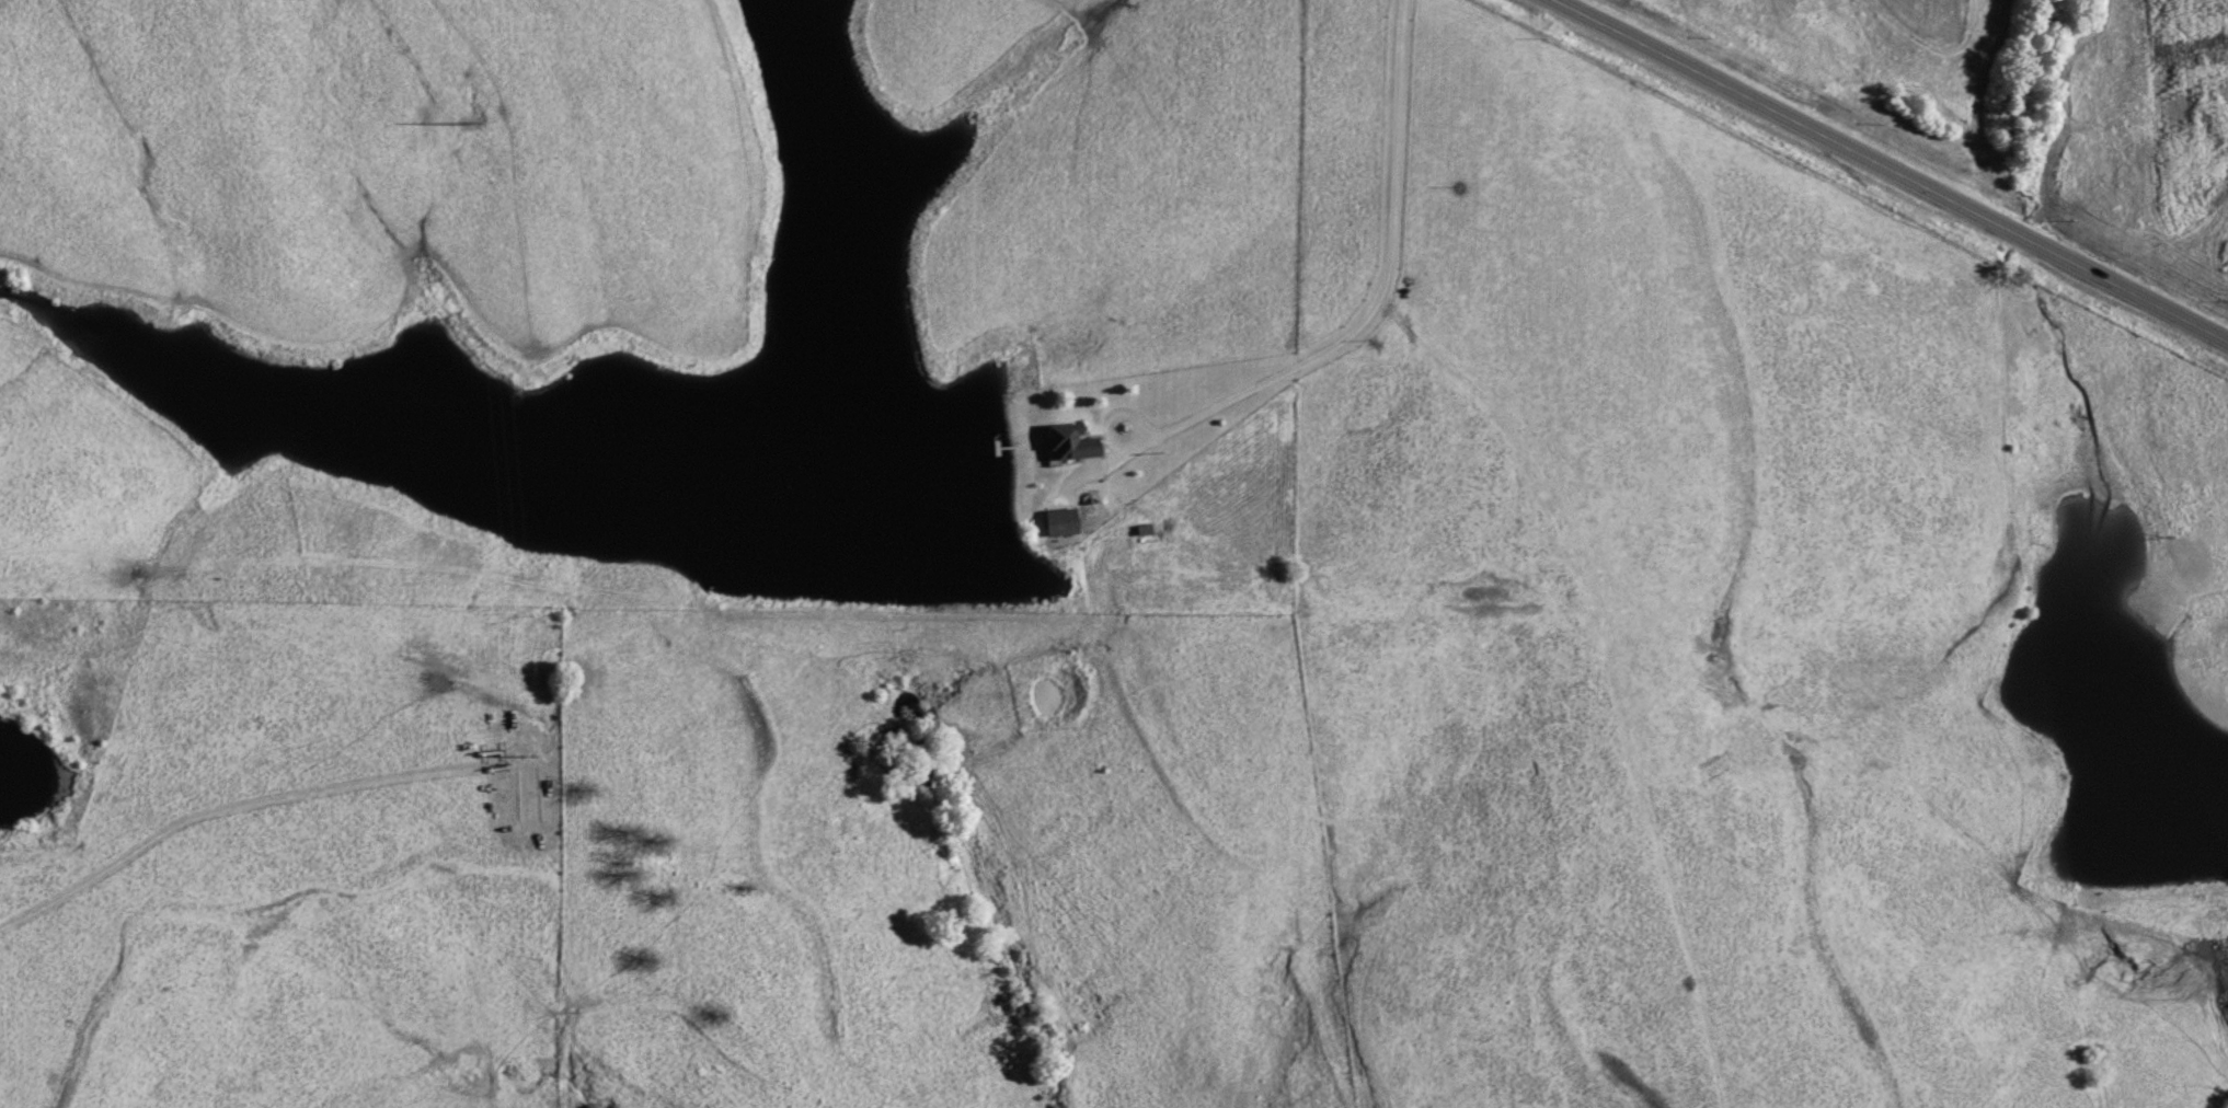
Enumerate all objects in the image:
road: (1892, 169)
building: (1067, 440)
building: (1058, 520)

